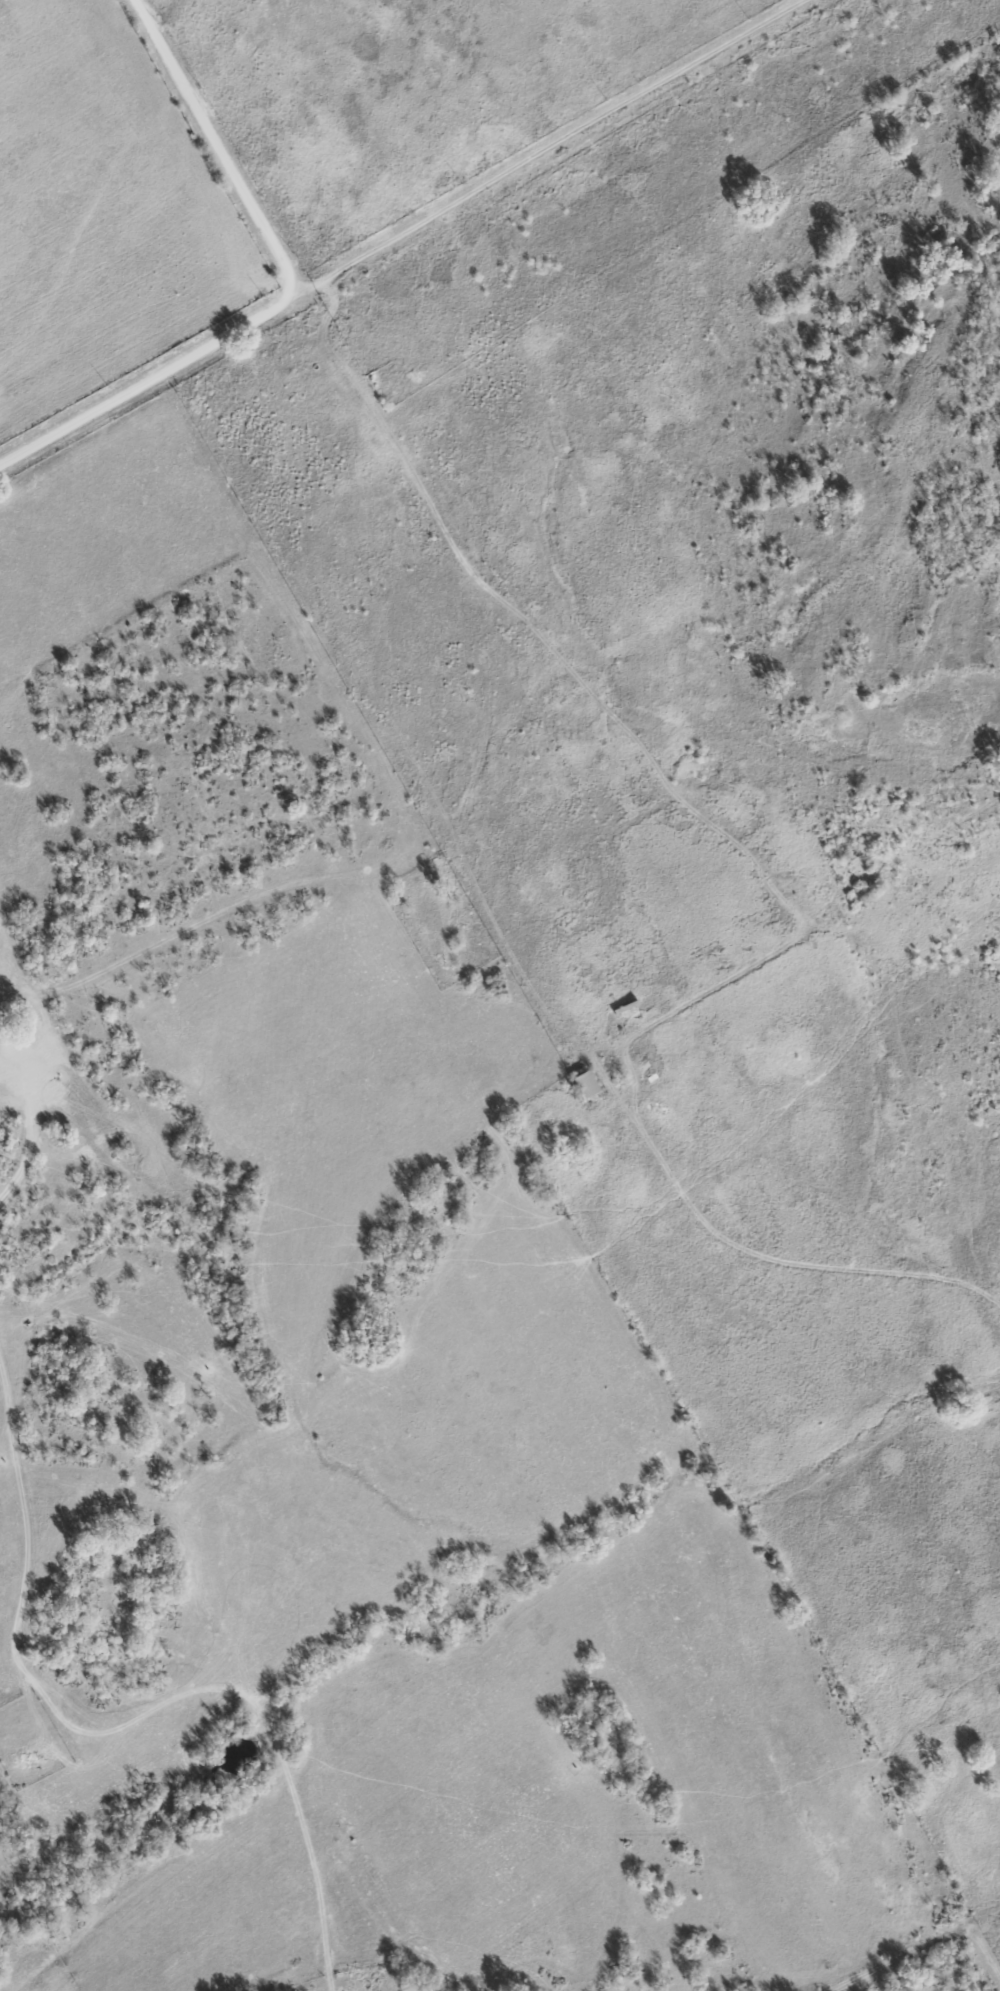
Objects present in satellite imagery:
road: (209, 142)
road: (149, 381)
park: (437, 921)

